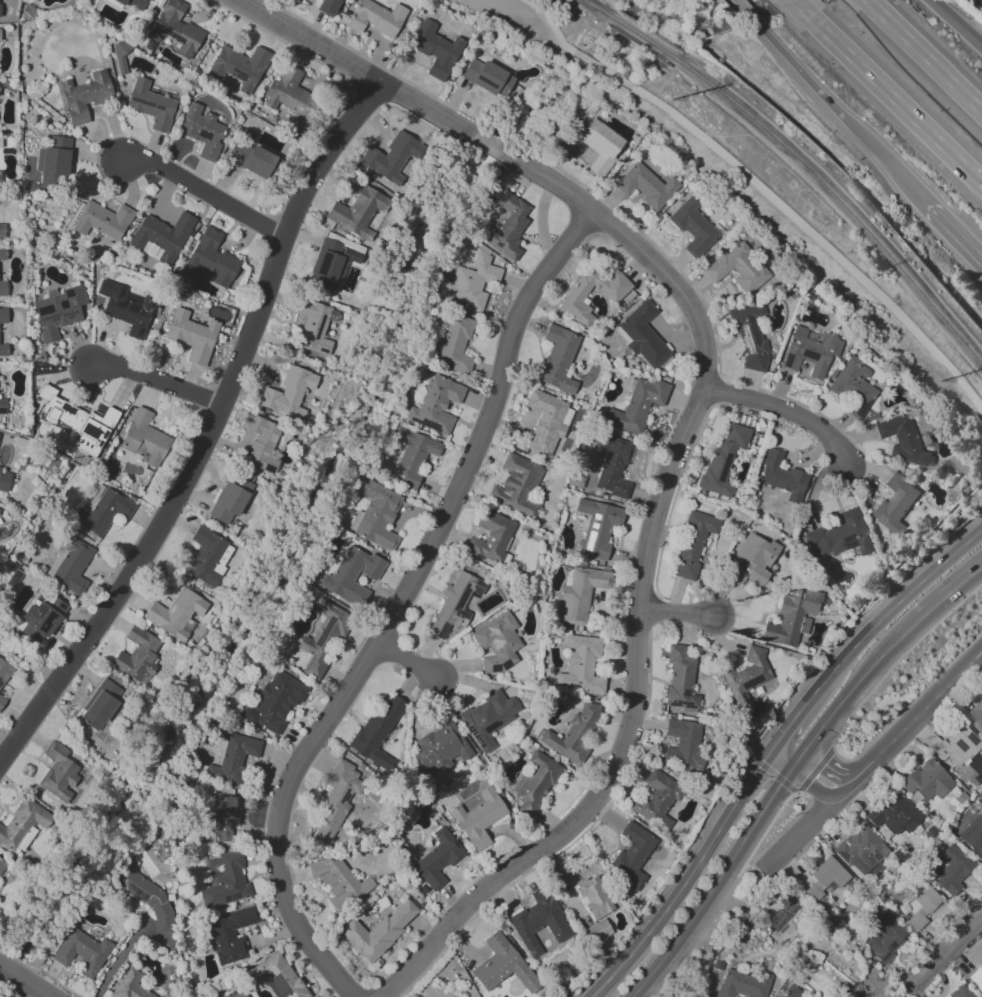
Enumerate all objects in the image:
road: (792, 1)
building: (133, 3)
building: (328, 7)
railway: (597, 8)
road: (741, 8)
parking lot: (493, 9)
park: (677, 16)
building: (375, 18)
road: (550, 21)
road: (956, 23)
building: (176, 29)
railway: (645, 36)
building: (435, 49)
building: (120, 55)
road: (924, 55)
building: (240, 66)
road: (601, 68)
road: (354, 70)
rooftop solar panel: (237, 76)
building: (487, 77)
road: (888, 93)
building: (291, 95)
building: (84, 96)
power tower: (667, 99)
rooftop solar panel: (132, 100)
rooftop solar panel: (143, 103)
building: (150, 105)
rooftop solar panel: (159, 108)
road: (836, 111)
building: (202, 131)
road: (488, 144)
building: (601, 146)
building: (53, 157)
building: (390, 158)
building: (252, 160)
building: (646, 186)
road: (208, 194)
railway: (840, 198)
building: (358, 212)
building: (102, 220)
building: (507, 226)
building: (693, 226)
building: (1, 230)
road: (953, 235)
building: (161, 237)
road: (815, 237)
road: (638, 248)
building: (2, 253)
building: (210, 260)
building: (332, 264)
building: (738, 268)
building: (470, 282)
rooftop solar panel: (459, 284)
building: (2, 288)
building: (613, 295)
rooftop solar panel: (463, 296)
rooftop solar panel: (461, 303)
building: (126, 308)
building: (58, 310)
building: (3, 315)
rooftop solar panel: (70, 316)
rooftop solar panel: (52, 318)
building: (313, 327)
rooftop solar panel: (752, 331)
building: (642, 335)
building: (192, 336)
building: (750, 336)
rooftop solar panel: (743, 338)
rooftop solar panel: (809, 338)
building: (456, 342)
building: (3, 350)
building: (810, 352)
rooftop solar panel: (810, 355)
building: (558, 359)
rooftop solar panel: (787, 363)
road: (159, 380)
power tower: (942, 381)
building: (853, 385)
building: (288, 393)
building: (436, 405)
building: (637, 405)
building: (2, 406)
rooftop solar panel: (860, 409)
road: (786, 414)
building: (77, 422)
building: (548, 422)
rooftop solar panel: (430, 425)
road: (206, 435)
building: (144, 439)
building: (901, 439)
building: (261, 443)
rooftop solar panel: (270, 444)
rooftop solar panel: (264, 451)
building: (413, 455)
building: (723, 459)
building: (613, 466)
building: (0, 467)
rooftop solar panel: (726, 467)
building: (782, 476)
building: (4, 482)
building: (517, 486)
building: (230, 499)
building: (897, 504)
building: (103, 512)
road: (976, 513)
building: (378, 516)
rooftop solar panel: (595, 518)
rooftop solar panel: (593, 527)
building: (598, 527)
building: (841, 535)
building: (491, 537)
rooftop solar panel: (589, 539)
rooftop solar panel: (846, 542)
building: (693, 543)
road: (916, 548)
building: (208, 556)
building: (751, 560)
building: (70, 565)
building: (351, 575)
building: (581, 593)
rooftop solar panel: (461, 597)
building: (455, 604)
road: (399, 605)
road: (893, 606)
rooftop solar panel: (39, 609)
rooftop solar panel: (566, 610)
road: (924, 612)
building: (176, 613)
road: (680, 613)
rooftop solar panel: (23, 616)
building: (40, 617)
building: (792, 617)
rooftop solar panel: (806, 627)
road: (850, 629)
building: (321, 639)
building: (497, 643)
building: (137, 655)
road: (898, 658)
building: (580, 665)
road: (411, 667)
building: (4, 671)
building: (745, 676)
building: (680, 678)
rooftop solar panel: (750, 681)
rooftop solar panel: (685, 692)
building: (1, 701)
rooftop solar panel: (682, 702)
building: (273, 703)
road: (908, 704)
building: (101, 705)
road: (833, 711)
road: (918, 715)
road: (794, 717)
building: (488, 718)
building: (976, 718)
building: (375, 728)
building: (573, 734)
traffic signals: (776, 739)
rooftop solar panel: (972, 739)
road: (629, 742)
building: (684, 742)
road: (771, 746)
building: (955, 746)
rooftop solar panel: (961, 746)
rooftop solar panel: (940, 747)
building: (439, 748)
road: (786, 748)
traffic signals: (766, 754)
building: (234, 758)
traffic signals: (797, 758)
road: (776, 763)
road: (792, 765)
road: (814, 770)
traffic signals: (787, 772)
road: (824, 772)
road: (771, 773)
building: (60, 774)
building: (926, 781)
building: (535, 782)
road: (807, 785)
road: (843, 787)
rooftop solar panel: (346, 794)
building: (335, 800)
building: (657, 800)
building: (895, 815)
building: (479, 818)
building: (224, 819)
building: (24, 825)
road: (797, 828)
road: (782, 830)
building: (973, 835)
building: (861, 849)
building: (632, 855)
rooftop solar panel: (841, 856)
rooftop solar panel: (876, 856)
building: (438, 859)
building: (1, 863)
building: (950, 869)
building: (826, 877)
road: (686, 880)
building: (338, 881)
building: (225, 883)
road: (666, 883)
road: (713, 887)
rooftop solar panel: (137, 892)
building: (144, 894)
road: (723, 895)
rooftop solar panel: (233, 897)
building: (594, 897)
rooftop solar panel: (224, 899)
building: (921, 904)
park: (784, 911)
building: (539, 921)
rooftop solar panel: (243, 923)
building: (378, 931)
building: (597, 931)
building: (230, 934)
rooftop solar panel: (888, 934)
building: (885, 937)
building: (548, 944)
road: (946, 950)
building: (82, 952)
road: (119, 960)
building: (502, 965)
building: (276, 976)
road: (28, 978)
building: (976, 978)
building: (743, 982)
rooftop solar panel: (279, 983)
building: (130, 985)
road: (16, 986)
building: (791, 992)
building: (238, 993)
building: (962, 993)

